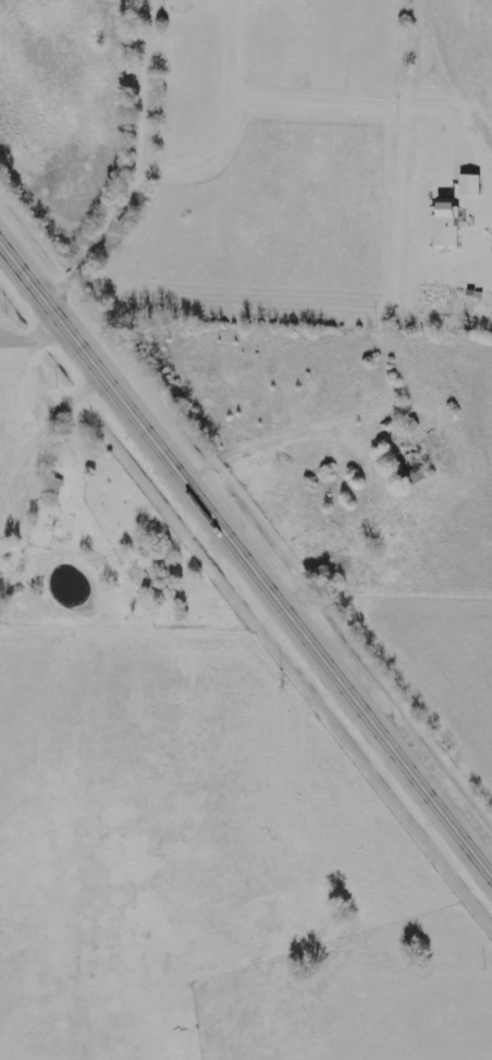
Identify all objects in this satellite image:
road: (132, 162)
building: (441, 223)
road: (276, 437)
building: (411, 471)
building: (52, 489)
railway: (246, 523)
road: (246, 557)

